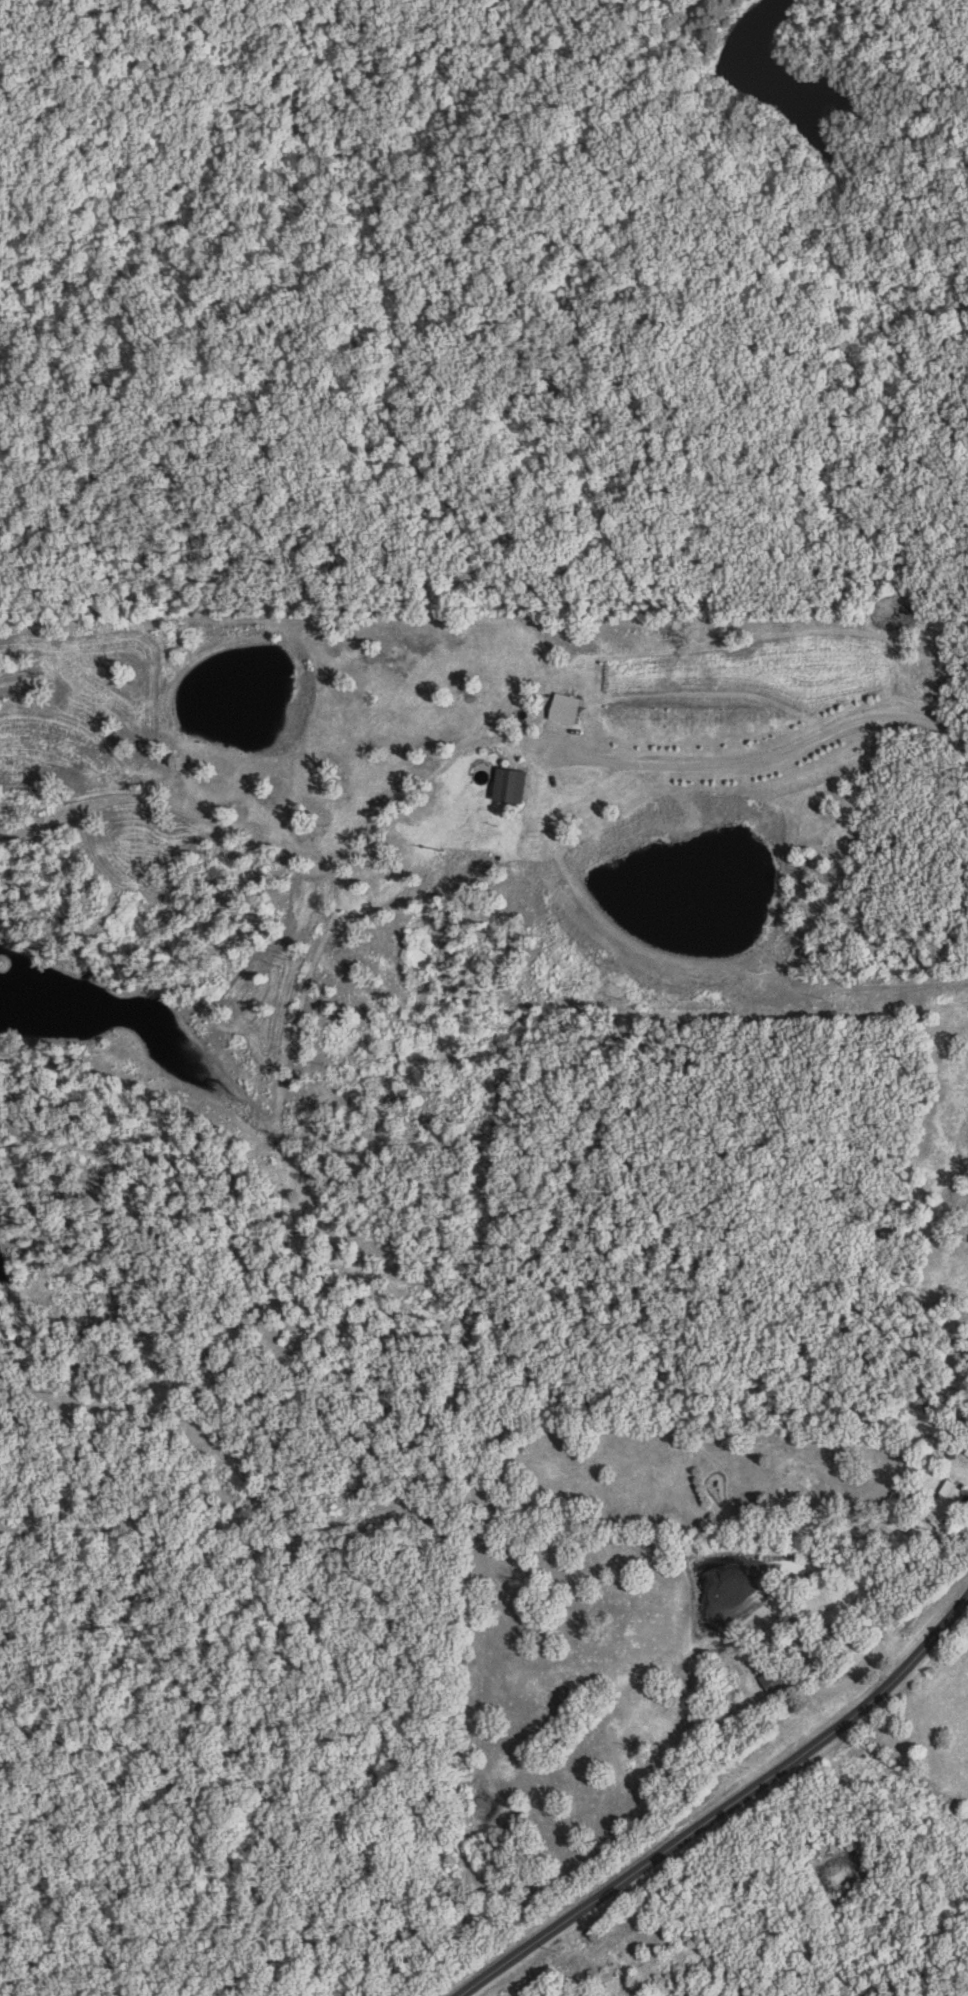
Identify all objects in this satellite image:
building: (569, 708)
building: (514, 784)
building: (947, 1503)
road: (731, 1810)

